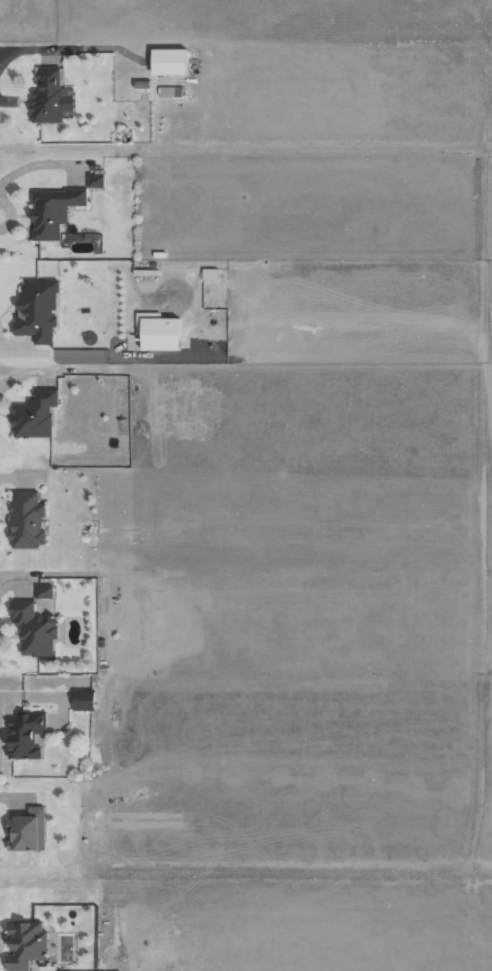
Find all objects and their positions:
building: (168, 61)
building: (170, 91)
building: (50, 97)
building: (95, 180)
building: (52, 210)
building: (209, 273)
building: (36, 310)
building: (34, 414)
building: (26, 520)
building: (44, 591)
building: (33, 628)
building: (82, 700)
building: (24, 733)
building: (26, 830)
building: (25, 944)

